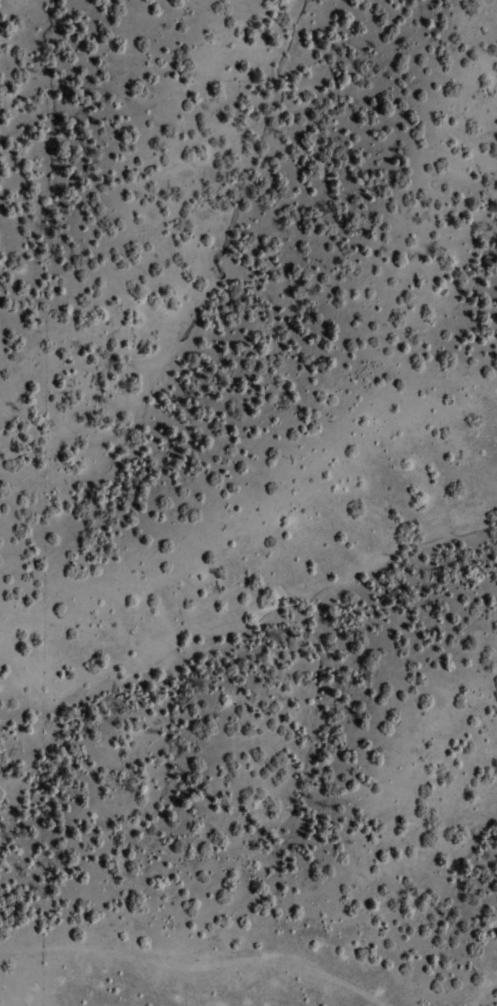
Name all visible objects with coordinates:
road: (190, 965)
road: (487, 996)

